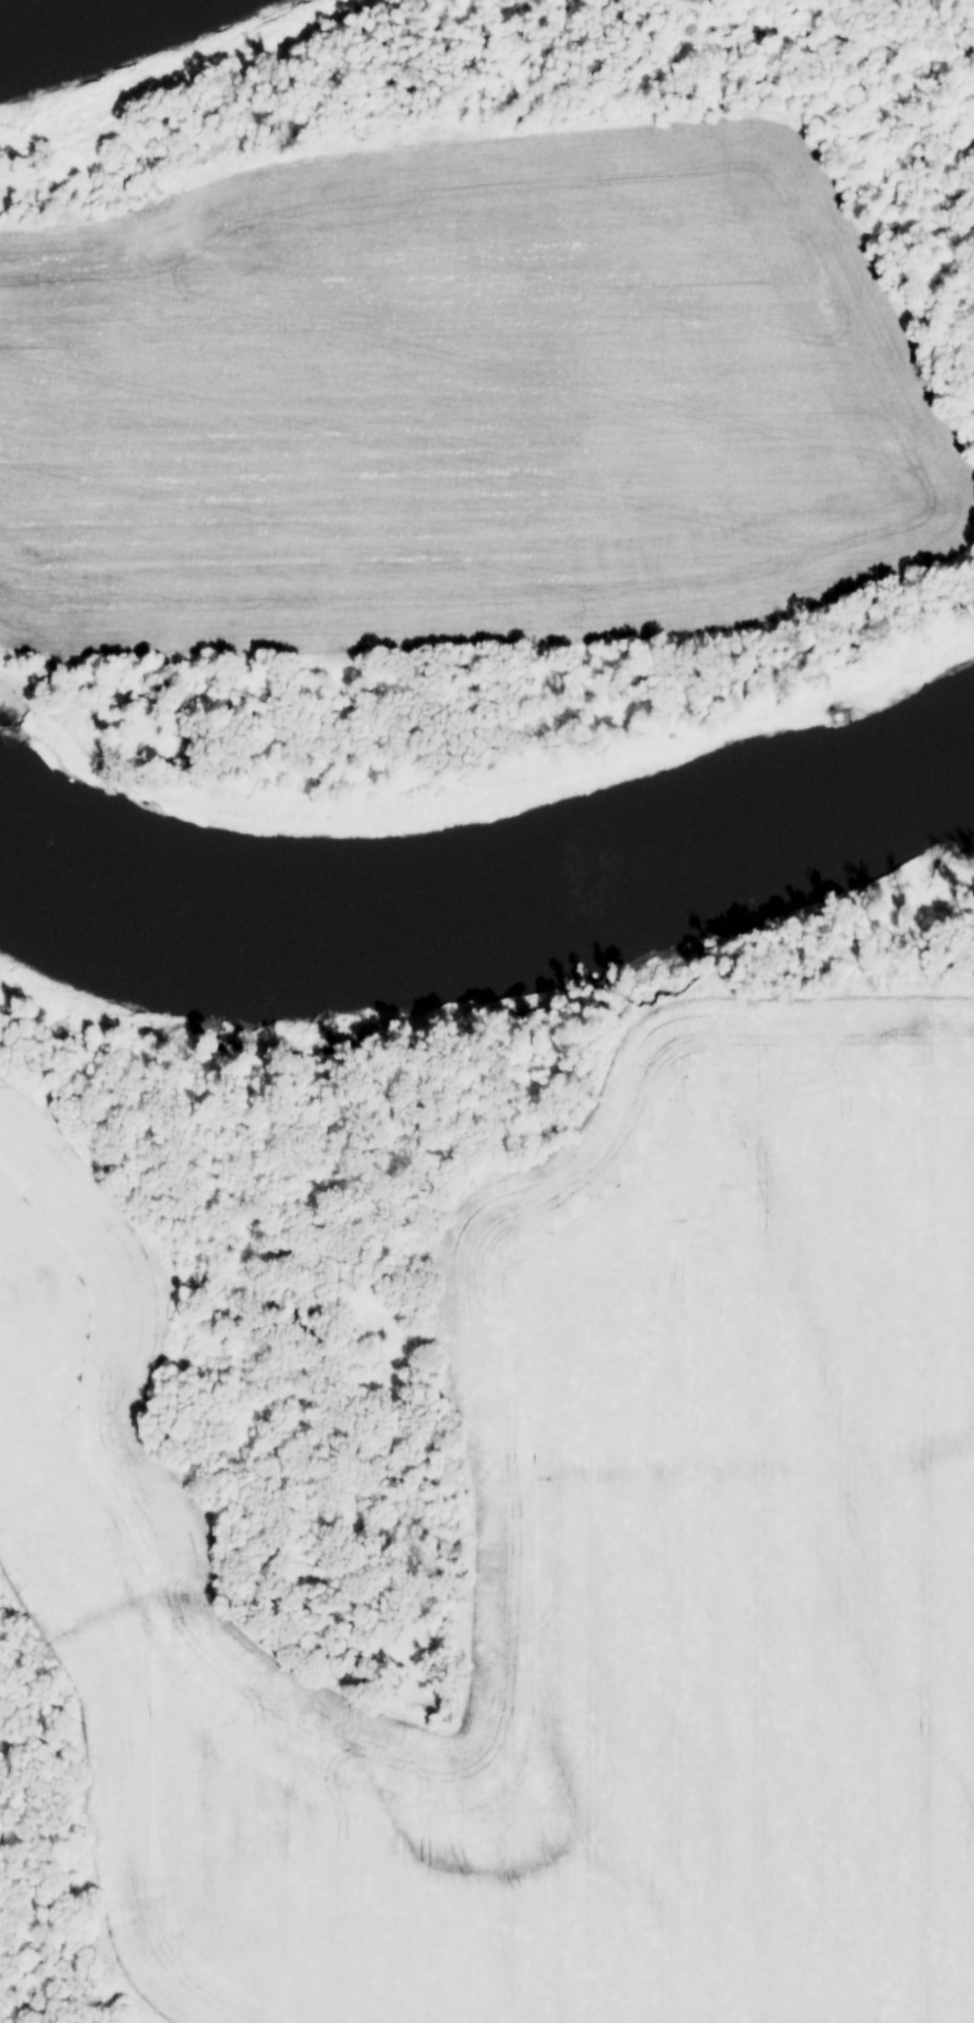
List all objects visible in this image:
river: (43, 10)
river: (490, 899)

